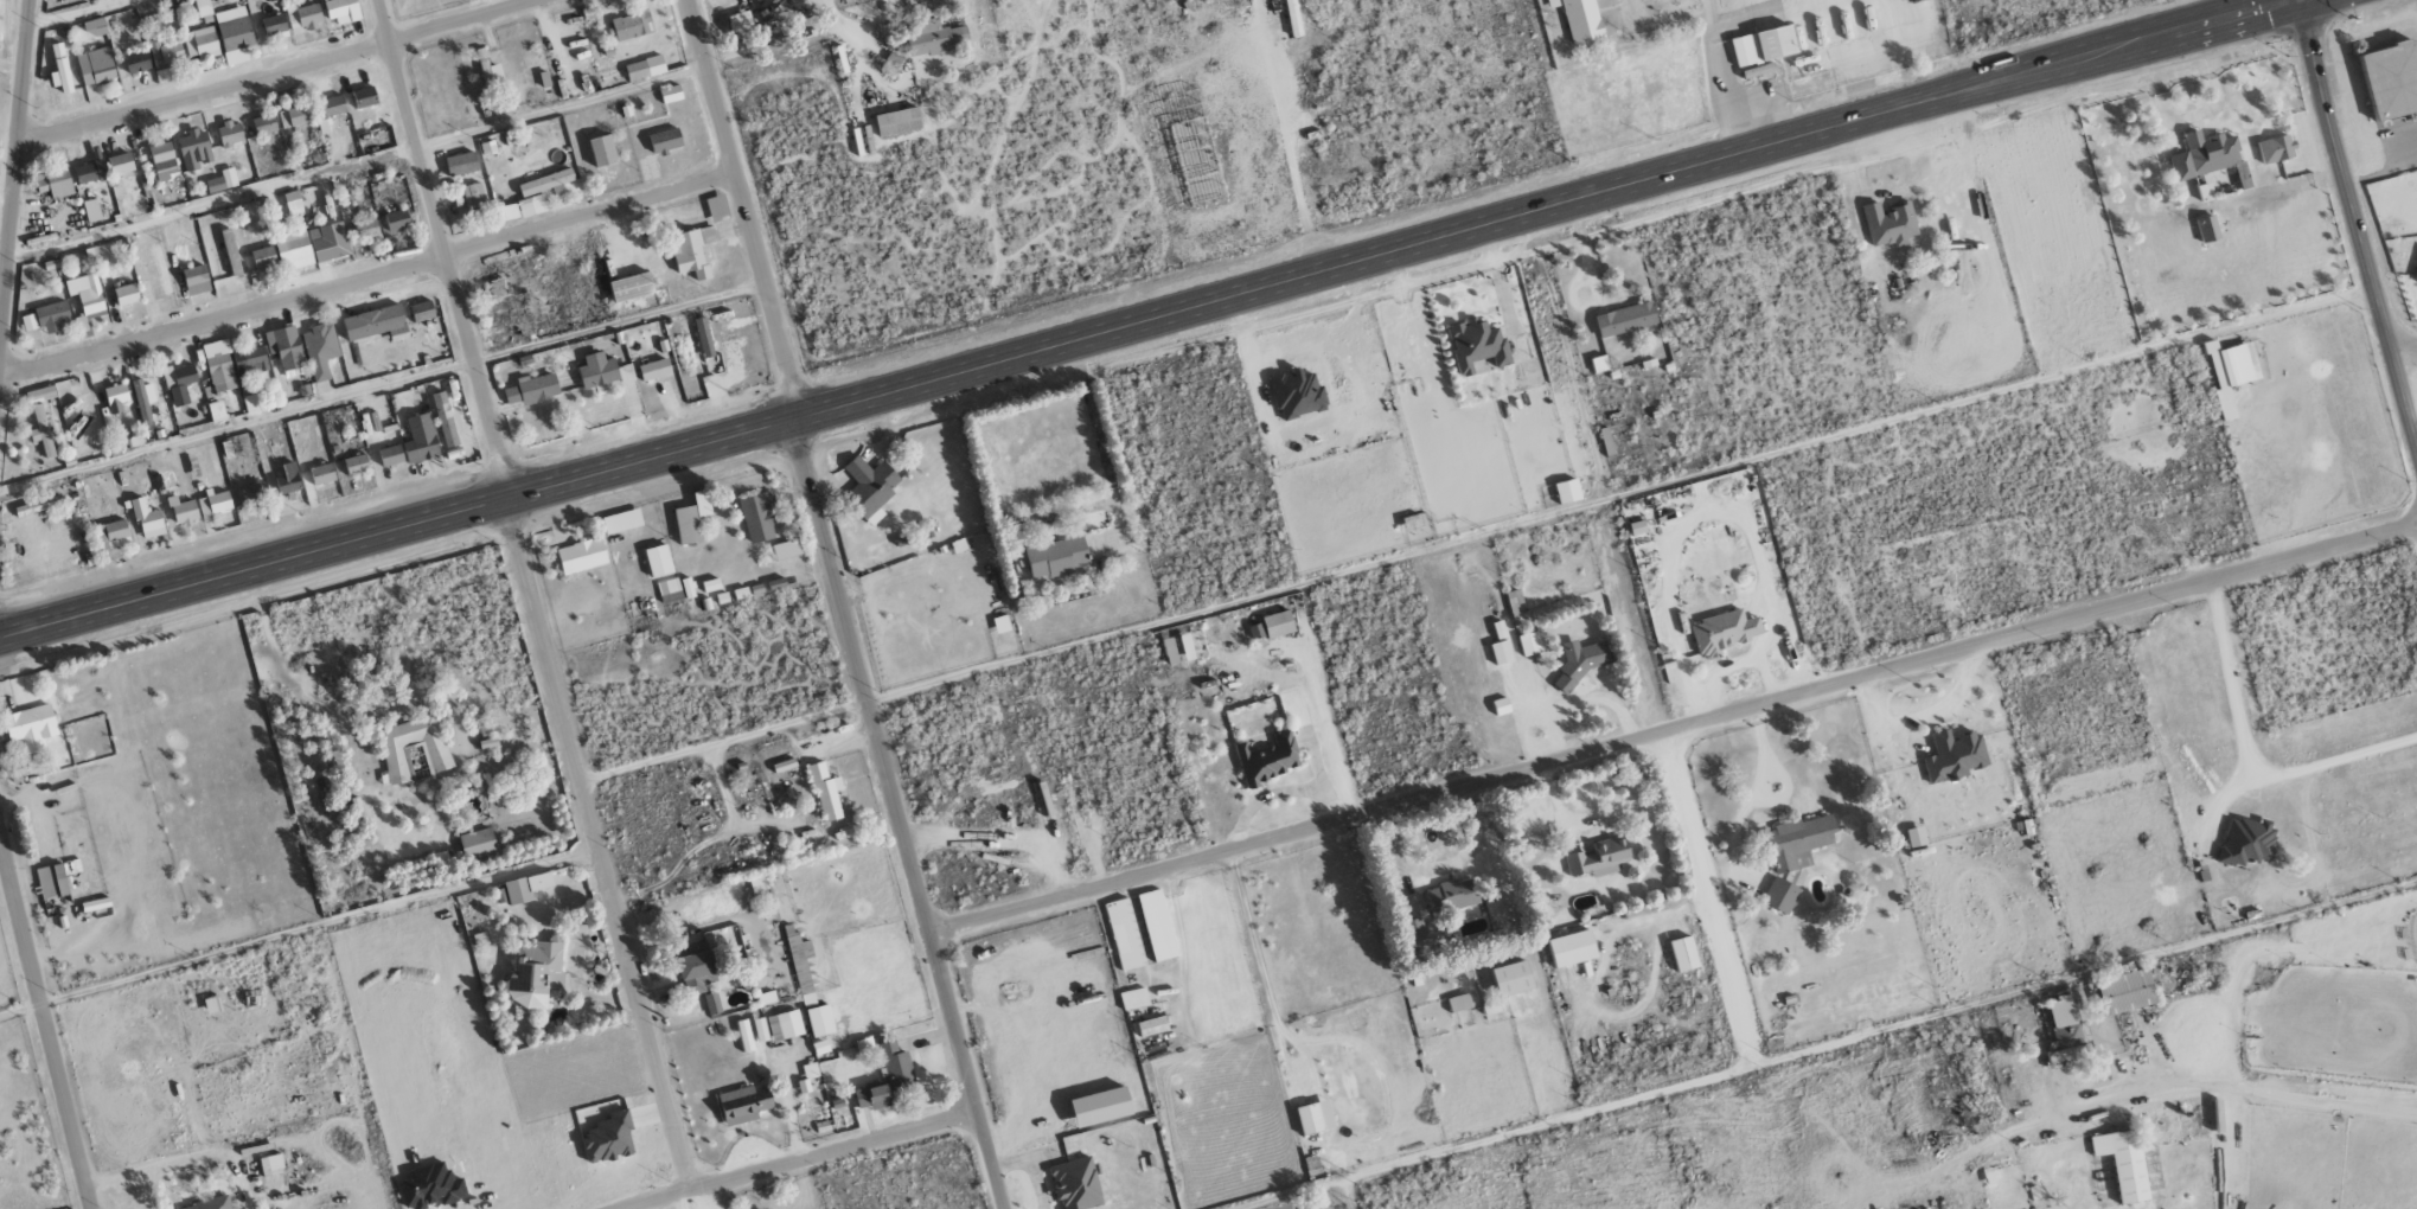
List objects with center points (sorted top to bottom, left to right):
traffic signals: (2301, 2)
building: (341, 8)
building: (203, 11)
building: (303, 17)
building: (1579, 19)
building: (738, 20)
building: (631, 25)
building: (94, 27)
building: (274, 27)
building: (934, 38)
building: (235, 39)
building: (199, 43)
building: (1763, 45)
building: (165, 52)
building: (136, 62)
building: (95, 66)
building: (644, 68)
building: (59, 69)
building: (1757, 69)
building: (488, 70)
road: (276, 72)
building: (2390, 77)
road: (1716, 79)
building: (670, 94)
building: (364, 97)
building: (332, 105)
building: (293, 116)
building: (897, 122)
building: (263, 124)
building: (322, 126)
building: (229, 133)
road: (1286, 136)
building: (664, 141)
building: (2276, 148)
building: (193, 149)
building: (602, 151)
building: (2205, 154)
road: (14, 158)
building: (162, 160)
building: (120, 164)
building: (460, 164)
building: (91, 168)
building: (222, 181)
building: (545, 183)
building: (53, 184)
building: (2204, 191)
building: (2186, 192)
building: (473, 198)
building: (293, 204)
building: (717, 207)
building: (519, 209)
building: (91, 210)
building: (396, 220)
building: (1888, 224)
road: (2355, 225)
building: (2206, 228)
building: (366, 229)
building: (328, 242)
building: (293, 250)
building: (691, 251)
building: (230, 252)
building: (262, 257)
building: (160, 270)
building: (2416, 276)
road: (366, 279)
building: (196, 280)
building: (631, 287)
building: (495, 288)
building: (124, 294)
building: (87, 295)
building: (421, 311)
building: (46, 318)
road: (1155, 319)
building: (1625, 319)
building: (372, 321)
building: (703, 337)
building: (1476, 345)
building: (284, 346)
building: (320, 354)
road: (2404, 357)
building: (249, 360)
building: (218, 363)
building: (654, 370)
building: (602, 372)
building: (2230, 372)
building: (179, 383)
building: (530, 390)
building: (39, 394)
building: (1297, 394)
building: (115, 397)
building: (141, 402)
building: (250, 403)
building: (216, 411)
building: (443, 418)
building: (43, 430)
building: (420, 439)
road: (1099, 446)
building: (390, 455)
building: (356, 465)
building: (321, 474)
building: (287, 479)
building: (869, 487)
building: (1566, 491)
building: (251, 493)
building: (218, 501)
building: (34, 506)
building: (181, 511)
building: (757, 517)
building: (146, 518)
building: (691, 518)
building: (621, 520)
building: (113, 535)
building: (785, 549)
building: (581, 556)
building: (1056, 556)
building: (658, 561)
building: (669, 590)
road: (533, 595)
road: (839, 606)
building: (1000, 623)
building: (1278, 623)
building: (1498, 629)
building: (1255, 631)
building: (1722, 632)
road: (1643, 640)
building: (1529, 642)
building: (1187, 646)
building: (1169, 651)
building: (1501, 652)
building: (1501, 706)
building: (30, 727)
road: (1673, 729)
building: (1954, 756)
road: (2251, 756)
building: (397, 759)
building: (1268, 759)
building: (825, 792)
road: (1754, 794)
building: (2245, 840)
building: (1798, 842)
building: (477, 844)
building: (1598, 858)
building: (52, 882)
building: (525, 887)
building: (1451, 895)
building: (1779, 895)
building: (1156, 925)
building: (1417, 930)
building: (1124, 934)
building: (1572, 948)
building: (1683, 954)
building: (695, 968)
road: (786, 970)
building: (532, 975)
building: (1511, 978)
building: (1133, 999)
building: (711, 1003)
building: (1458, 1003)
road: (20, 1010)
building: (819, 1021)
road: (45, 1022)
building: (785, 1025)
building: (1151, 1026)
building: (2064, 1028)
building: (760, 1030)
building: (743, 1036)
road: (1828, 1044)
building: (895, 1066)
building: (807, 1076)
road: (2249, 1092)
building: (872, 1096)
building: (743, 1104)
building: (1315, 1118)
building: (608, 1138)
road: (803, 1160)
building: (2123, 1163)
building: (270, 1164)
building: (1075, 1184)
building: (207, 1204)

